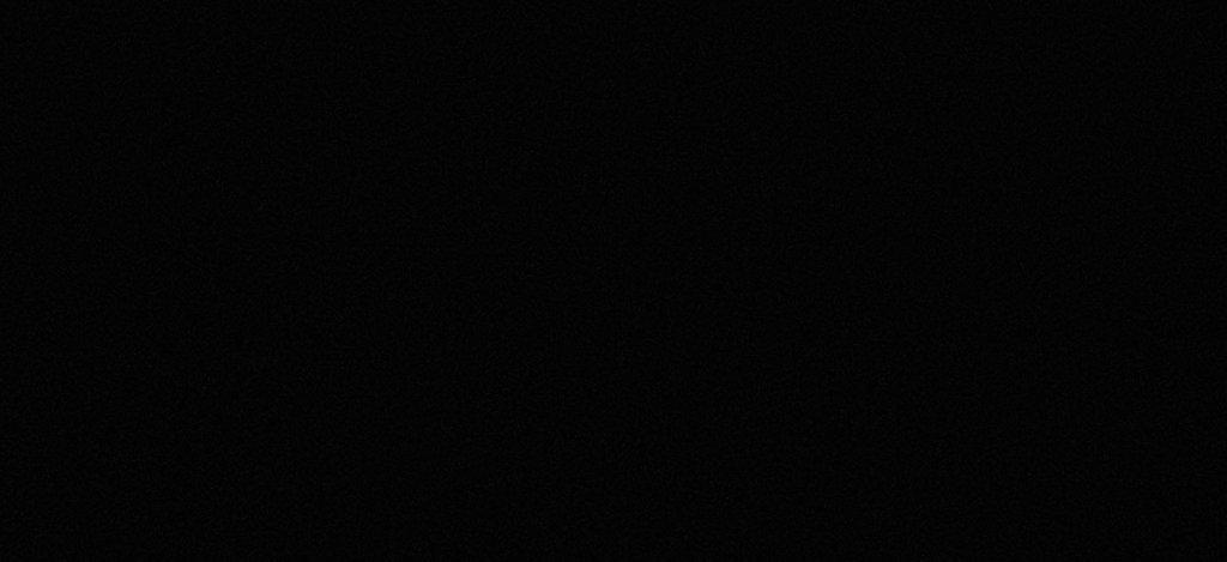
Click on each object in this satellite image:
river: (613, 361)

